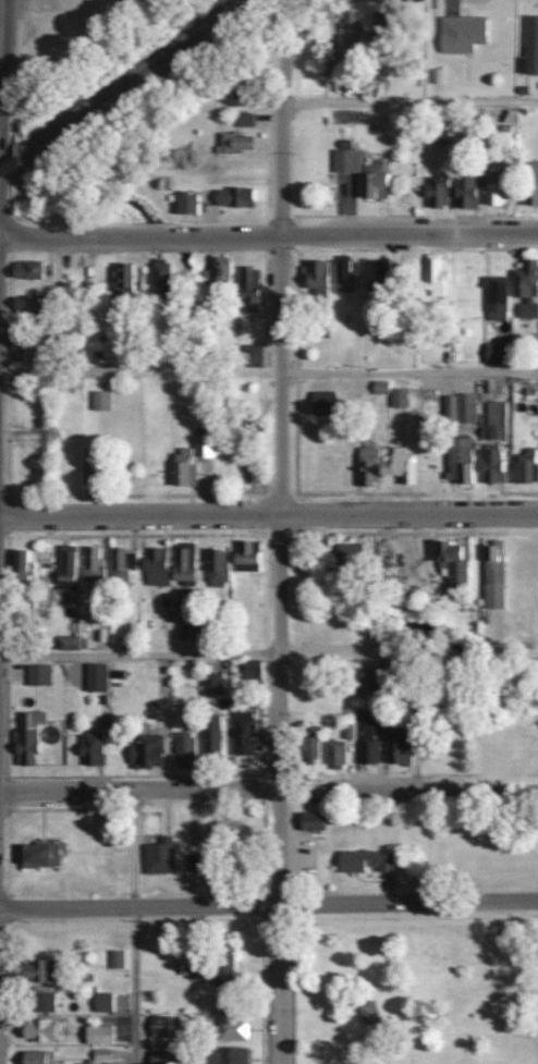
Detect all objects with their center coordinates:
road: (1, 5)
road: (0, 13)
building: (351, 27)
building: (460, 33)
road: (0, 36)
building: (530, 45)
building: (332, 63)
building: (437, 75)
railway: (130, 80)
road: (408, 99)
building: (244, 120)
building: (383, 123)
building: (439, 135)
building: (233, 142)
railway: (10, 167)
building: (362, 172)
building: (531, 184)
building: (493, 186)
building: (436, 192)
building: (464, 192)
building: (233, 196)
building: (184, 203)
road: (268, 233)
building: (219, 269)
building: (25, 270)
building: (379, 271)
building: (159, 272)
building: (433, 274)
building: (315, 276)
building: (343, 277)
building: (120, 280)
building: (246, 283)
building: (526, 289)
building: (496, 297)
building: (24, 304)
building: (23, 351)
building: (496, 352)
building: (252, 355)
road: (407, 370)
building: (379, 387)
building: (398, 398)
building: (100, 401)
building: (321, 403)
building: (464, 407)
building: (494, 420)
building: (189, 460)
building: (458, 460)
building: (491, 464)
building: (401, 465)
building: (366, 466)
building: (524, 467)
building: (86, 473)
road: (268, 512)
road: (277, 526)
building: (351, 552)
building: (245, 557)
building: (122, 560)
building: (19, 561)
building: (451, 562)
building: (183, 563)
building: (91, 564)
building: (65, 567)
building: (156, 567)
building: (217, 567)
building: (492, 575)
building: (65, 643)
road: (269, 655)
building: (250, 670)
building: (37, 674)
building: (367, 678)
building: (210, 684)
building: (30, 719)
building: (242, 733)
building: (210, 736)
building: (369, 738)
building: (398, 745)
building: (24, 746)
building: (90, 747)
building: (182, 749)
building: (307, 750)
building: (147, 755)
building: (333, 755)
road: (268, 784)
building: (309, 821)
building: (231, 828)
building: (38, 855)
building: (158, 857)
building: (363, 861)
building: (193, 863)
road: (268, 905)
road: (127, 925)
building: (117, 959)
building: (223, 970)
building: (37, 971)
park: (409, 983)
building: (40, 1002)
building: (102, 1003)
building: (366, 1013)
building: (158, 1027)
building: (40, 1030)
building: (230, 1030)
building: (97, 1036)
building: (100, 1055)
building: (224, 1055)
building: (36, 1056)
building: (159, 1057)
building: (84, 1063)

